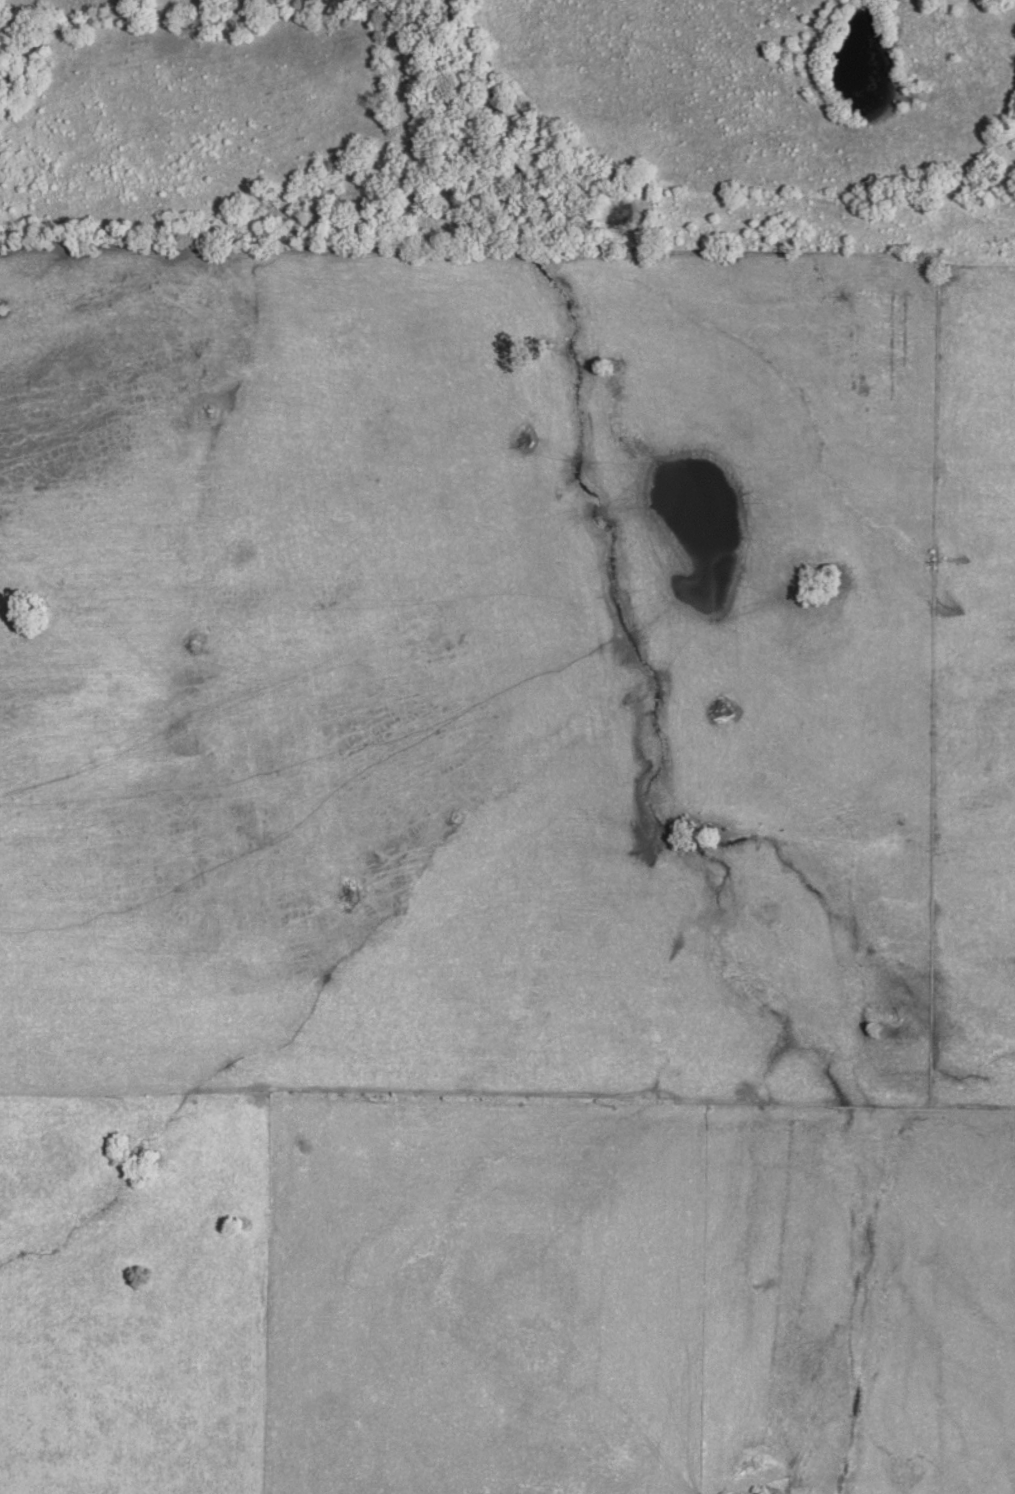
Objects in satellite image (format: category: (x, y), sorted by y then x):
road: (355, 1008)

